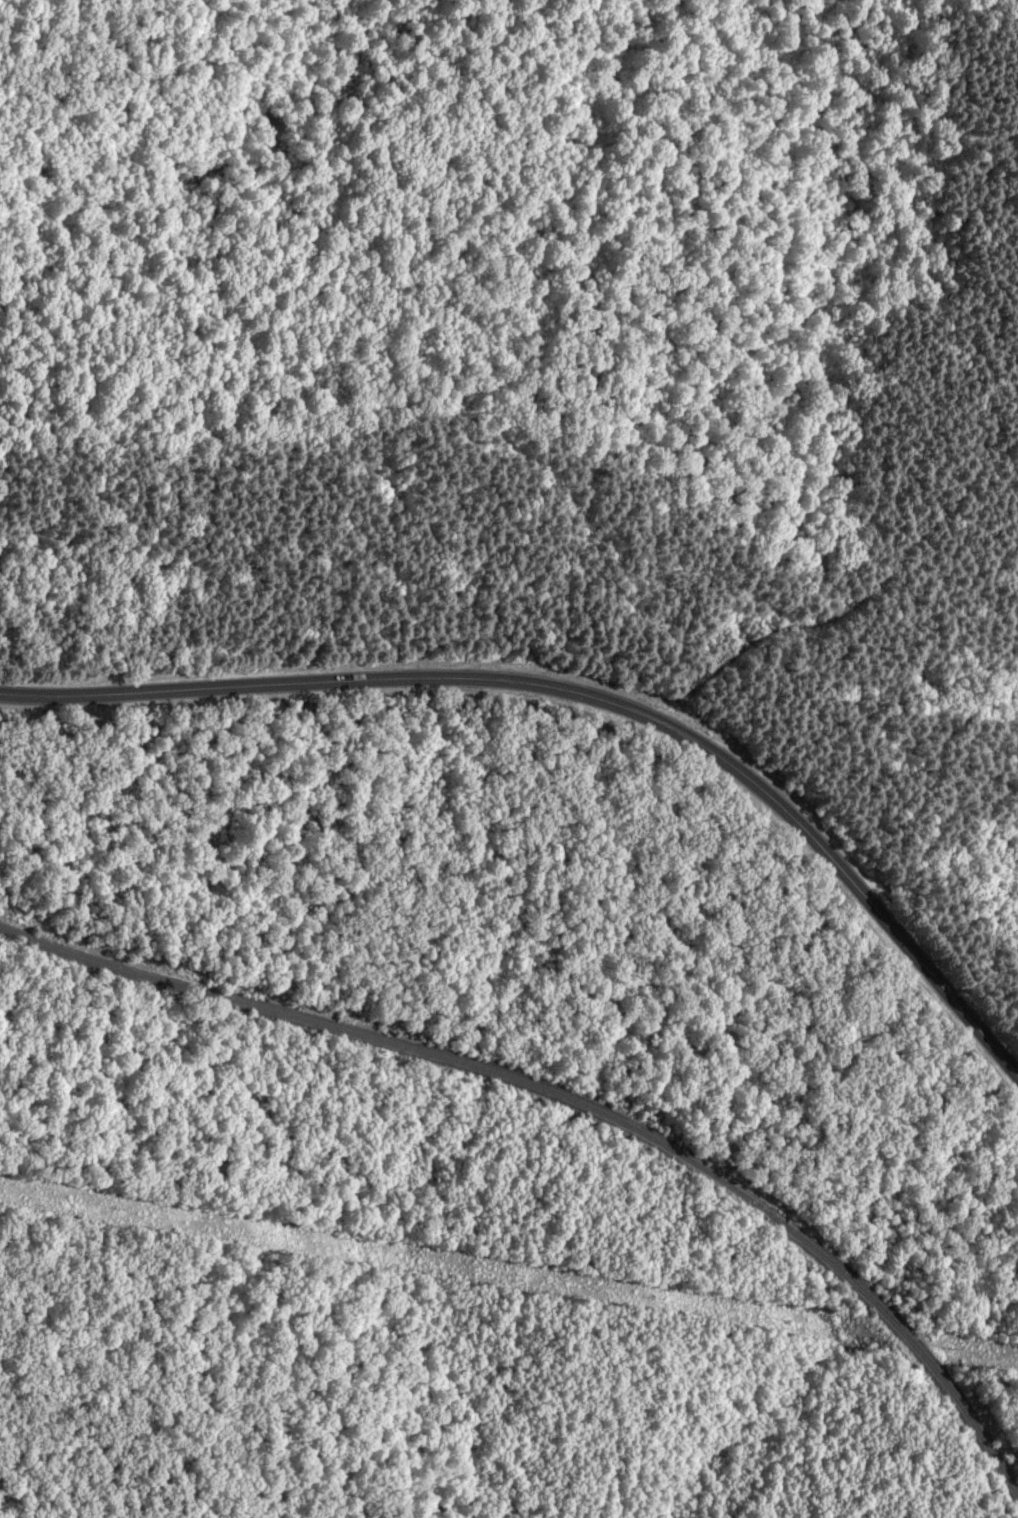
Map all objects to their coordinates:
road: (582, 697)
railway: (571, 1099)

